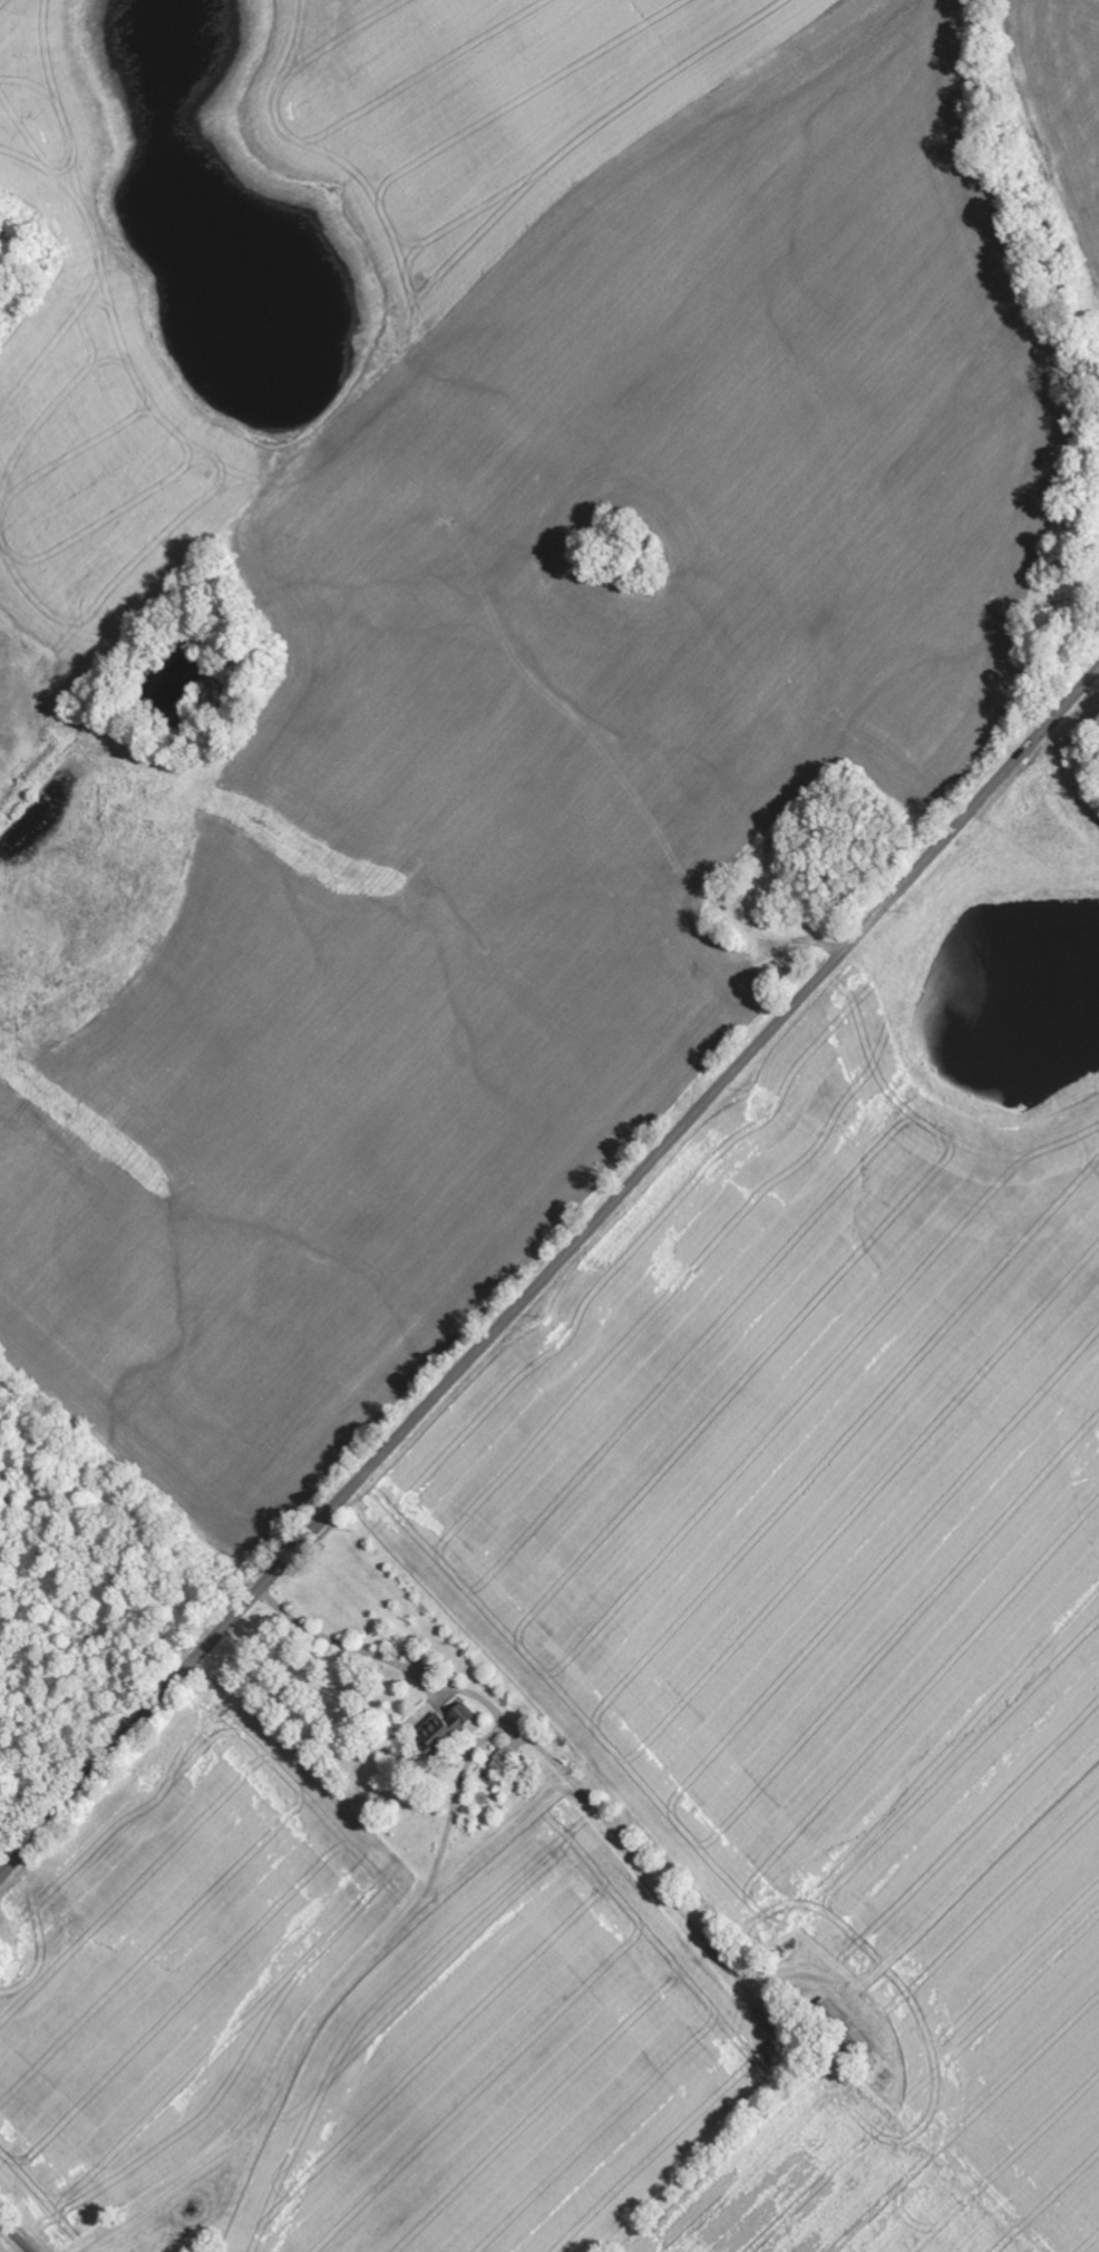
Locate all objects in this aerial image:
road: (551, 1271)
building: (449, 1733)
building: (506, 1756)
road: (586, 1783)
road: (12, 2239)

